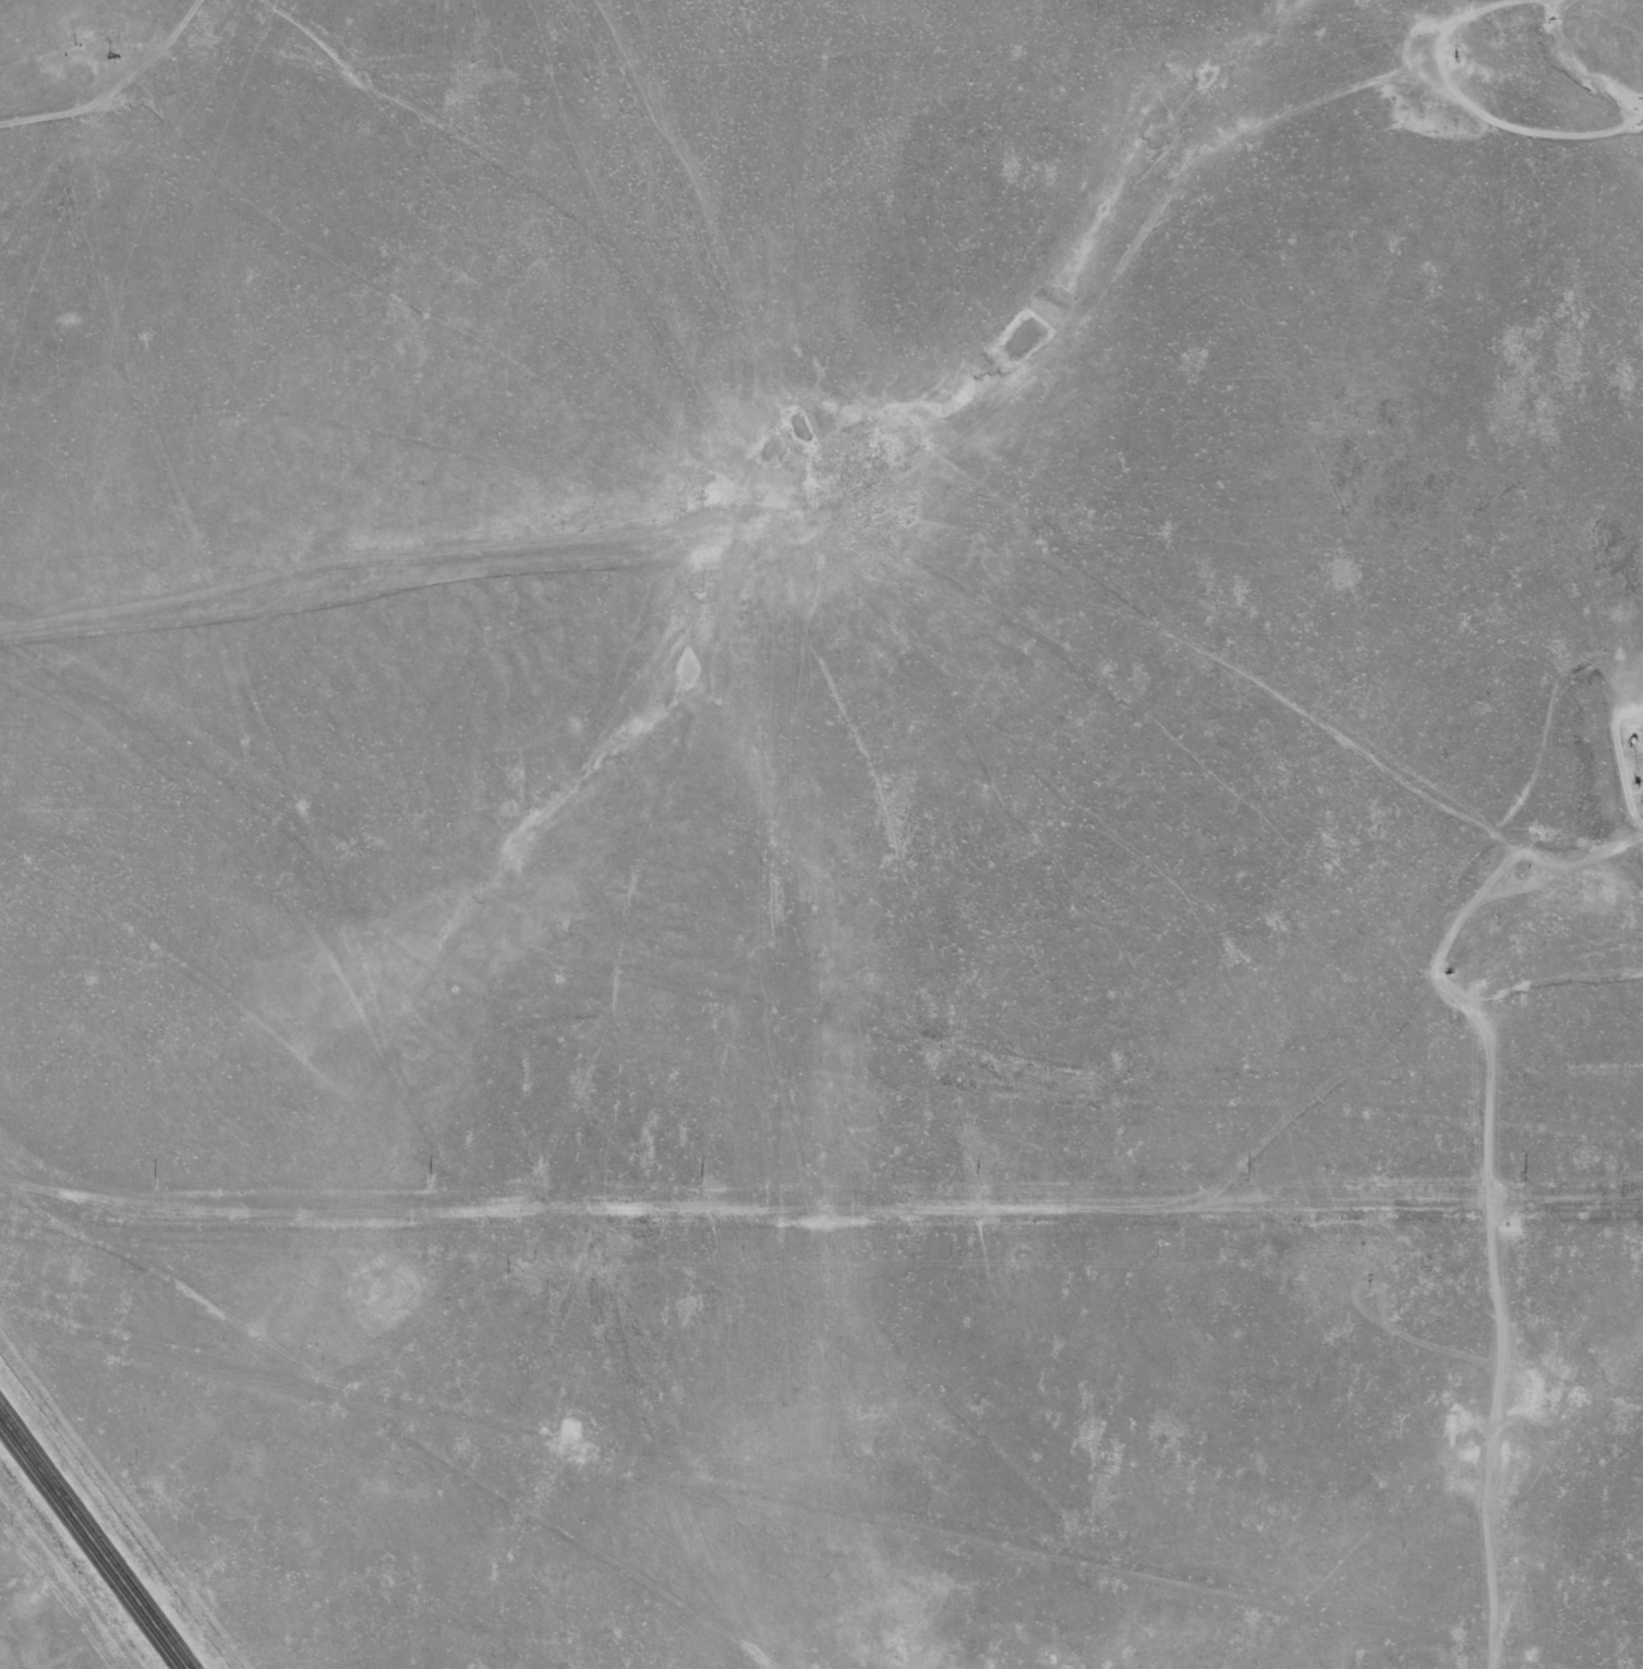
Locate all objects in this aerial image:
power tower: (1521, 1173)
power tower: (1247, 1175)
power tower: (699, 1177)
power tower: (976, 1177)
power tower: (426, 1178)
power tower: (152, 1182)
road: (96, 1538)

